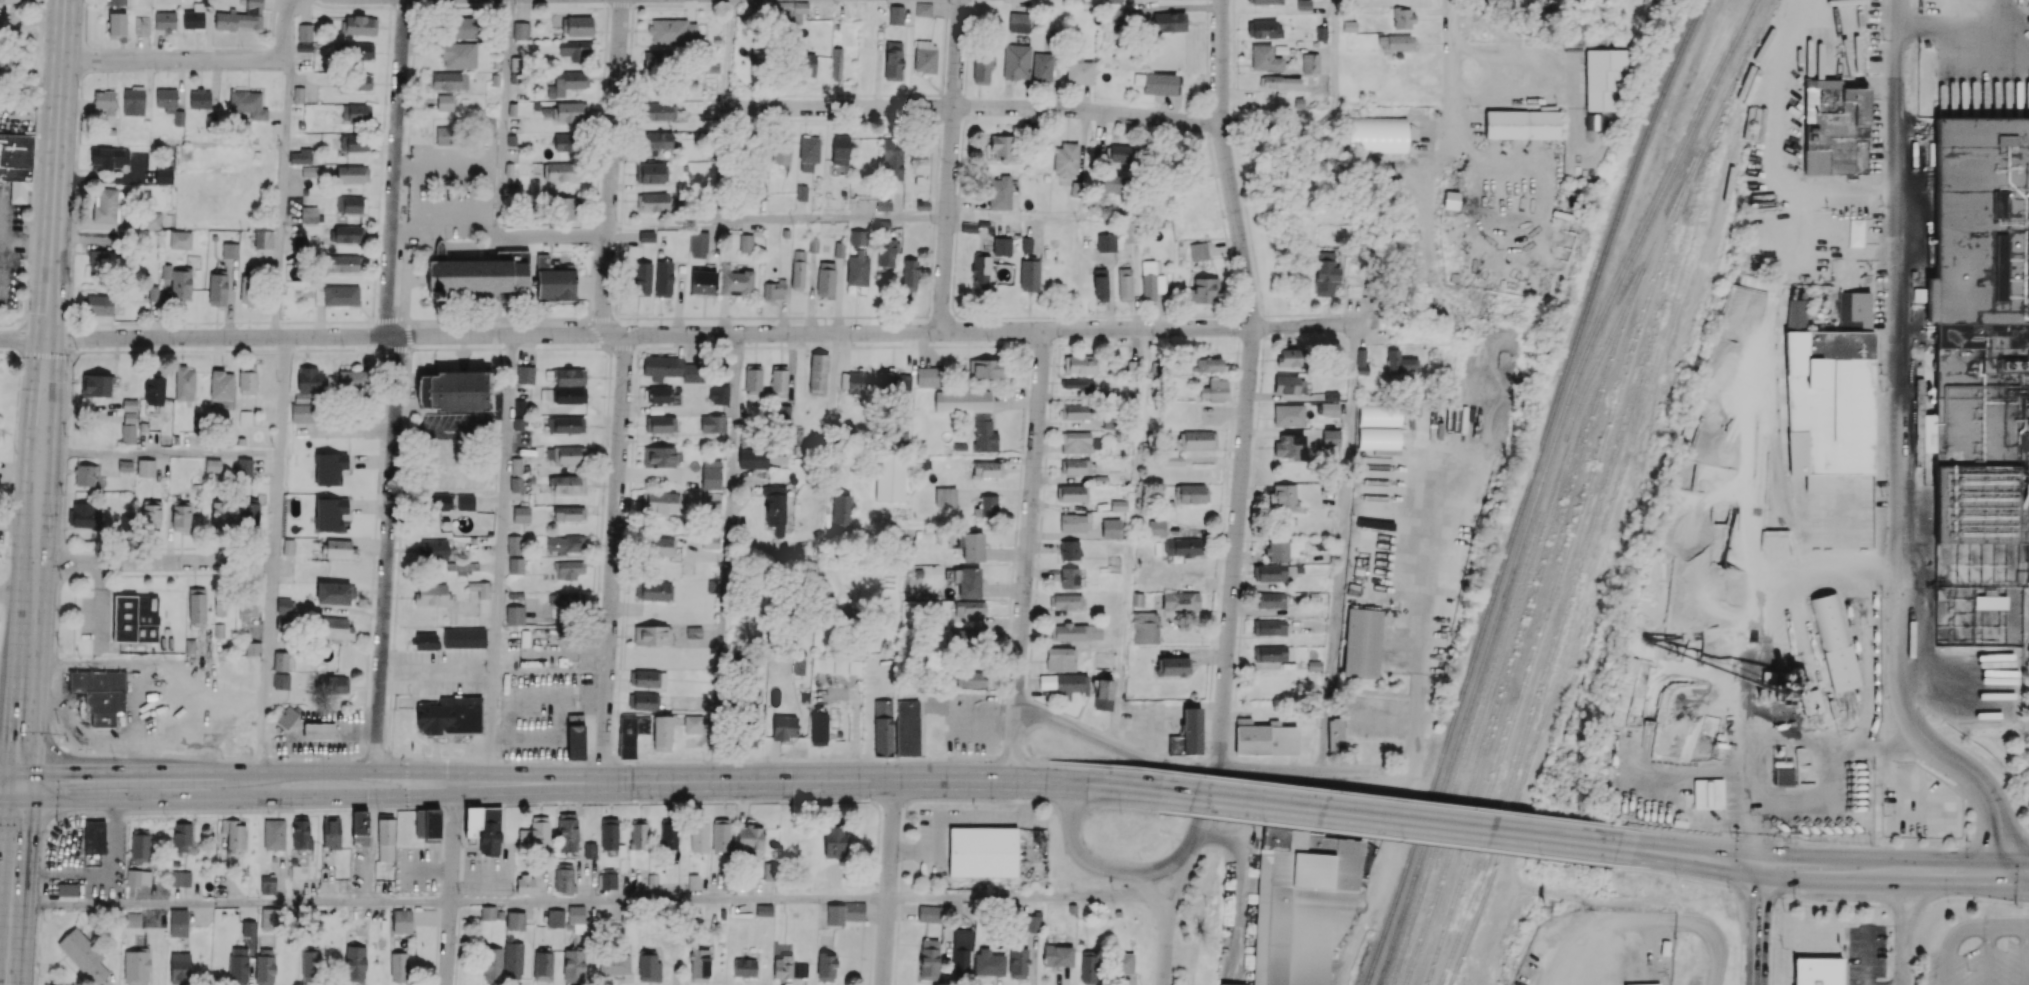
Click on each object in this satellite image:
building: (14, 1)
building: (1113, 1)
building: (115, 2)
building: (1264, 2)
building: (923, 9)
building: (788, 11)
building: (1119, 14)
building: (895, 15)
building: (240, 17)
building: (1403, 18)
building: (165, 20)
building: (1019, 21)
building: (1169, 21)
building: (117, 23)
road: (1952, 24)
building: (142, 25)
building: (360, 25)
building: (577, 25)
building: (1349, 26)
road: (286, 27)
building: (462, 27)
building: (1263, 29)
building: (520, 30)
building: (304, 31)
building: (673, 31)
building: (1395, 42)
building: (574, 48)
building: (357, 50)
road: (728, 53)
road: (1449, 54)
building: (459, 55)
building: (759, 56)
building: (924, 56)
building: (1264, 58)
road: (172, 59)
building: (657, 59)
building: (893, 60)
building: (1016, 61)
building: (836, 62)
building: (1310, 63)
building: (806, 64)
building: (982, 65)
road: (1335, 65)
building: (1042, 67)
building: (1078, 69)
building: (1602, 77)
building: (449, 80)
building: (1281, 81)
building: (360, 82)
building: (565, 82)
building: (1158, 83)
building: (298, 94)
building: (200, 98)
building: (104, 101)
building: (133, 101)
railway: (1732, 101)
building: (445, 102)
building: (247, 103)
building: (169, 104)
road: (974, 108)
building: (659, 110)
building: (356, 111)
building: (570, 111)
building: (1593, 122)
road: (1270, 123)
building: (1522, 124)
building: (1834, 128)
building: (444, 135)
building: (354, 142)
building: (564, 142)
building: (655, 142)
building: (1004, 147)
building: (840, 149)
building: (781, 151)
building: (808, 152)
building: (1120, 152)
building: (301, 156)
building: (108, 157)
building: (892, 158)
road: (722, 163)
building: (16, 164)
road: (950, 165)
building: (1068, 165)
railway: (1714, 167)
road: (56, 168)
building: (309, 171)
building: (560, 171)
building: (652, 172)
building: (352, 173)
road: (500, 173)
building: (164, 175)
building: (1114, 183)
building: (760, 191)
building: (802, 192)
building: (999, 192)
road: (283, 195)
building: (1450, 199)
building: (655, 201)
building: (349, 204)
building: (105, 205)
building: (884, 205)
building: (564, 208)
road: (1424, 209)
building: (308, 214)
road: (1074, 218)
road: (833, 219)
building: (152, 220)
road: (667, 228)
building: (1128, 232)
building: (348, 233)
building: (646, 236)
building: (858, 237)
building: (263, 238)
building: (180, 239)
building: (315, 239)
building: (1106, 242)
road: (26, 243)
building: (746, 243)
building: (699, 244)
building: (1002, 246)
building: (230, 250)
building: (1197, 250)
building: (887, 251)
building: (99, 263)
building: (340, 263)
building: (857, 268)
building: (798, 269)
building: (166, 271)
building: (980, 271)
building: (1326, 272)
building: (479, 274)
building: (909, 274)
building: (1029, 275)
building: (642, 278)
building: (664, 278)
building: (825, 278)
building: (553, 281)
building: (1151, 281)
building: (181, 282)
building: (702, 282)
building: (736, 282)
building: (1100, 284)
building: (1124, 284)
building: (217, 288)
building: (775, 289)
building: (247, 290)
building: (1201, 291)
building: (341, 295)
building: (99, 304)
building: (1854, 310)
road: (708, 333)
road: (23, 337)
building: (1980, 349)
railway: (1771, 351)
railway: (1603, 353)
road: (44, 354)
building: (1292, 357)
building: (1401, 362)
building: (1080, 364)
building: (1206, 364)
building: (987, 368)
building: (672, 369)
building: (525, 373)
building: (818, 374)
building: (571, 376)
building: (928, 376)
building: (753, 377)
building: (352, 379)
building: (247, 380)
building: (310, 380)
building: (894, 381)
building: (778, 382)
building: (855, 382)
building: (184, 383)
building: (1078, 383)
building: (96, 384)
building: (221, 384)
road: (397, 384)
road: (1247, 384)
building: (1289, 384)
building: (154, 388)
building: (454, 389)
road: (623, 389)
building: (1215, 389)
building: (659, 394)
building: (718, 394)
building: (570, 395)
road: (831, 399)
building: (1828, 401)
building: (519, 406)
building: (1329, 408)
building: (129, 410)
building: (1076, 410)
building: (1420, 411)
building: (303, 412)
building: (1288, 415)
building: (982, 421)
building: (660, 423)
building: (713, 423)
building: (566, 424)
building: (128, 433)
building: (1330, 437)
building: (1198, 438)
building: (1078, 442)
building: (1290, 445)
building: (564, 453)
road: (167, 454)
building: (658, 456)
building: (1171, 457)
building: (752, 458)
road: (1895, 458)
building: (213, 464)
building: (125, 465)
building: (244, 466)
building: (1077, 466)
building: (146, 467)
building: (331, 467)
building: (987, 469)
building: (84, 474)
building: (711, 474)
railway: (1555, 474)
building: (890, 476)
railway: (1543, 482)
building: (516, 483)
railway: (1569, 483)
building: (568, 484)
railway: (1776, 487)
railway: (1529, 489)
building: (1073, 492)
building: (1187, 493)
building: (945, 496)
building: (1283, 496)
building: (713, 500)
building: (439, 501)
building: (465, 501)
building: (663, 502)
building: (988, 505)
building: (775, 508)
building: (841, 511)
building: (330, 512)
building: (569, 512)
building: (151, 514)
building: (249, 514)
building: (521, 514)
building: (85, 515)
building: (181, 515)
building: (221, 515)
railway: (1785, 520)
building: (1072, 522)
building: (1375, 522)
building: (1111, 528)
building: (1156, 528)
building: (711, 541)
building: (565, 543)
building: (514, 544)
building: (971, 545)
building: (660, 546)
building: (1184, 547)
road: (1342, 547)
building: (339, 548)
building: (433, 548)
building: (1069, 549)
building: (1282, 549)
road: (20, 553)
road: (47, 553)
road: (498, 553)
road: (1026, 554)
road: (274, 555)
road: (726, 557)
road: (160, 562)
road: (786, 563)
building: (515, 565)
building: (462, 566)
railway: (1562, 567)
building: (568, 569)
building: (1272, 572)
railway: (1579, 575)
building: (1069, 577)
railway: (1789, 581)
building: (967, 582)
building: (480, 588)
building: (654, 590)
road: (9, 592)
building: (333, 593)
building: (432, 594)
building: (565, 599)
building: (1181, 600)
building: (1271, 600)
building: (1065, 601)
building: (1990, 602)
building: (196, 605)
building: (285, 605)
building: (219, 606)
building: (970, 607)
building: (248, 608)
building: (514, 615)
building: (135, 618)
building: (1145, 627)
building: (1269, 627)
building: (334, 628)
building: (694, 631)
building: (1076, 631)
building: (652, 635)
building: (464, 637)
building: (964, 639)
building: (426, 641)
building: (1362, 642)
building: (1834, 642)
railway: (1566, 646)
building: (253, 648)
building: (1272, 652)
building: (1060, 659)
building: (280, 661)
building: (829, 665)
building: (799, 666)
building: (854, 666)
road: (437, 668)
building: (650, 678)
building: (969, 678)
building: (281, 681)
building: (1071, 683)
building: (100, 693)
building: (1103, 694)
road: (1423, 700)
building: (643, 701)
building: (451, 715)
building: (286, 716)
building: (695, 724)
building: (783, 727)
building: (883, 727)
building: (818, 728)
building: (907, 728)
building: (319, 731)
building: (661, 733)
building: (1188, 733)
building: (631, 734)
building: (1335, 734)
building: (575, 736)
building: (1264, 738)
road: (1115, 745)
railway: (1466, 746)
road: (1018, 755)
road: (1080, 756)
road: (433, 758)
road: (317, 771)
traffic signals: (9, 773)
road: (17, 773)
traffic signals: (35, 773)
building: (1784, 776)
road: (881, 781)
road: (406, 784)
road: (8, 787)
road: (34, 787)
building: (1708, 793)
road: (304, 798)
road: (1404, 799)
road: (4, 801)
traffic signals: (8, 801)
traffic signals: (34, 801)
road: (1197, 812)
road: (1401, 820)
building: (427, 824)
building: (360, 827)
building: (484, 827)
building: (331, 832)
building: (567, 832)
building: (233, 833)
building: (301, 833)
building: (535, 833)
building: (274, 834)
building: (638, 834)
building: (610, 835)
building: (669, 835)
building: (720, 835)
building: (94, 836)
building: (182, 836)
building: (749, 836)
building: (698, 837)
building: (386, 838)
road: (114, 840)
building: (834, 842)
road: (1824, 844)
building: (140, 845)
road: (1075, 846)
road: (370, 850)
building: (590, 850)
building: (983, 851)
road: (3, 858)
road: (1155, 866)
traffic signals: (1761, 866)
building: (770, 870)
road: (1833, 870)
traffic signals: (2004, 873)
road: (85, 877)
building: (138, 877)
building: (563, 877)
building: (180, 878)
building: (608, 878)
road: (888, 883)
building: (525, 884)
building: (268, 885)
road: (1148, 885)
building: (67, 889)
road: (450, 890)
road: (28, 893)
road: (596, 901)
building: (1301, 909)
building: (764, 910)
building: (488, 912)
building: (576, 913)
building: (844, 913)
building: (928, 913)
building: (555, 917)
road: (1162, 918)
building: (133, 919)
building: (270, 919)
building: (401, 920)
building: (515, 920)
road: (1906, 920)
building: (178, 922)
building: (1033, 923)
road: (1657, 923)
road: (1757, 925)
road: (1964, 927)
building: (248, 928)
building: (961, 953)
road: (1904, 954)
building: (83, 955)
building: (1057, 955)
road: (1866, 957)
building: (929, 959)
building: (513, 960)
building: (989, 962)
building: (1019, 962)
building: (1123, 962)
building: (310, 963)
building: (355, 963)
building: (614, 963)
building: (699, 963)
building: (492, 965)
building: (543, 965)
building: (573, 965)
building: (136, 966)
building: (238, 966)
building: (265, 966)
building: (399, 966)
building: (826, 966)
building: (744, 967)
building: (789, 967)
building: (180, 968)
building: (649, 968)
building: (1088, 969)
building: (1816, 971)
building: (1228, 984)

